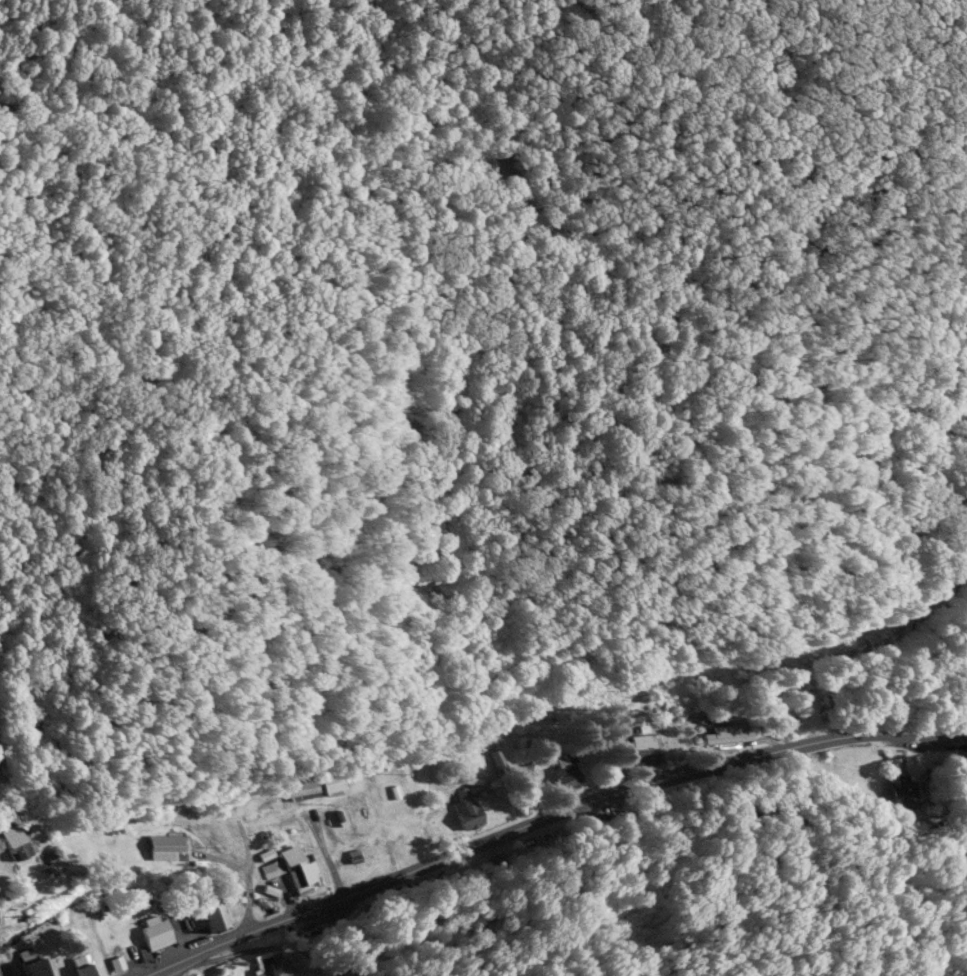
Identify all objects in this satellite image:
building: (646, 748)
building: (496, 758)
building: (564, 769)
building: (330, 780)
building: (299, 788)
building: (901, 793)
building: (467, 806)
road: (543, 816)
building: (13, 840)
building: (405, 840)
building: (166, 845)
building: (388, 850)
building: (298, 866)
building: (271, 867)
building: (212, 913)
building: (154, 929)
building: (267, 962)
building: (31, 963)
building: (82, 965)

